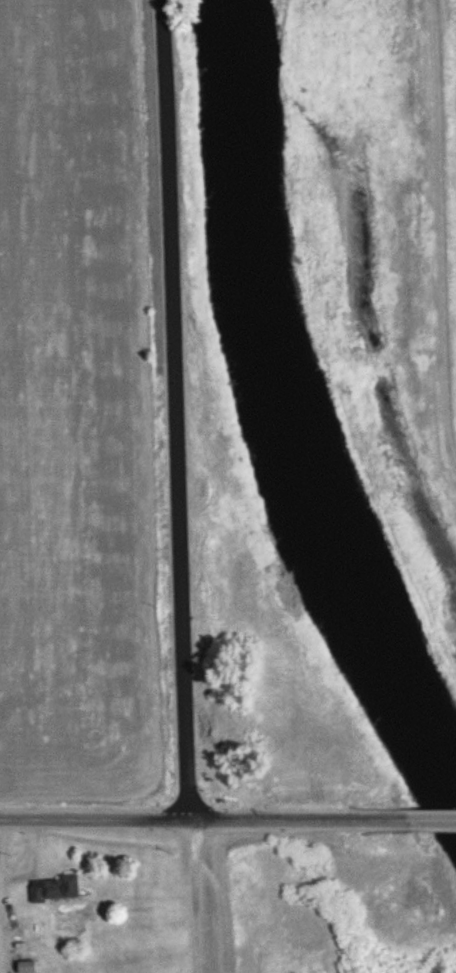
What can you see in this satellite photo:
river: (310, 406)
road: (175, 410)
road: (203, 821)
road: (431, 821)
building: (49, 889)
building: (28, 968)

